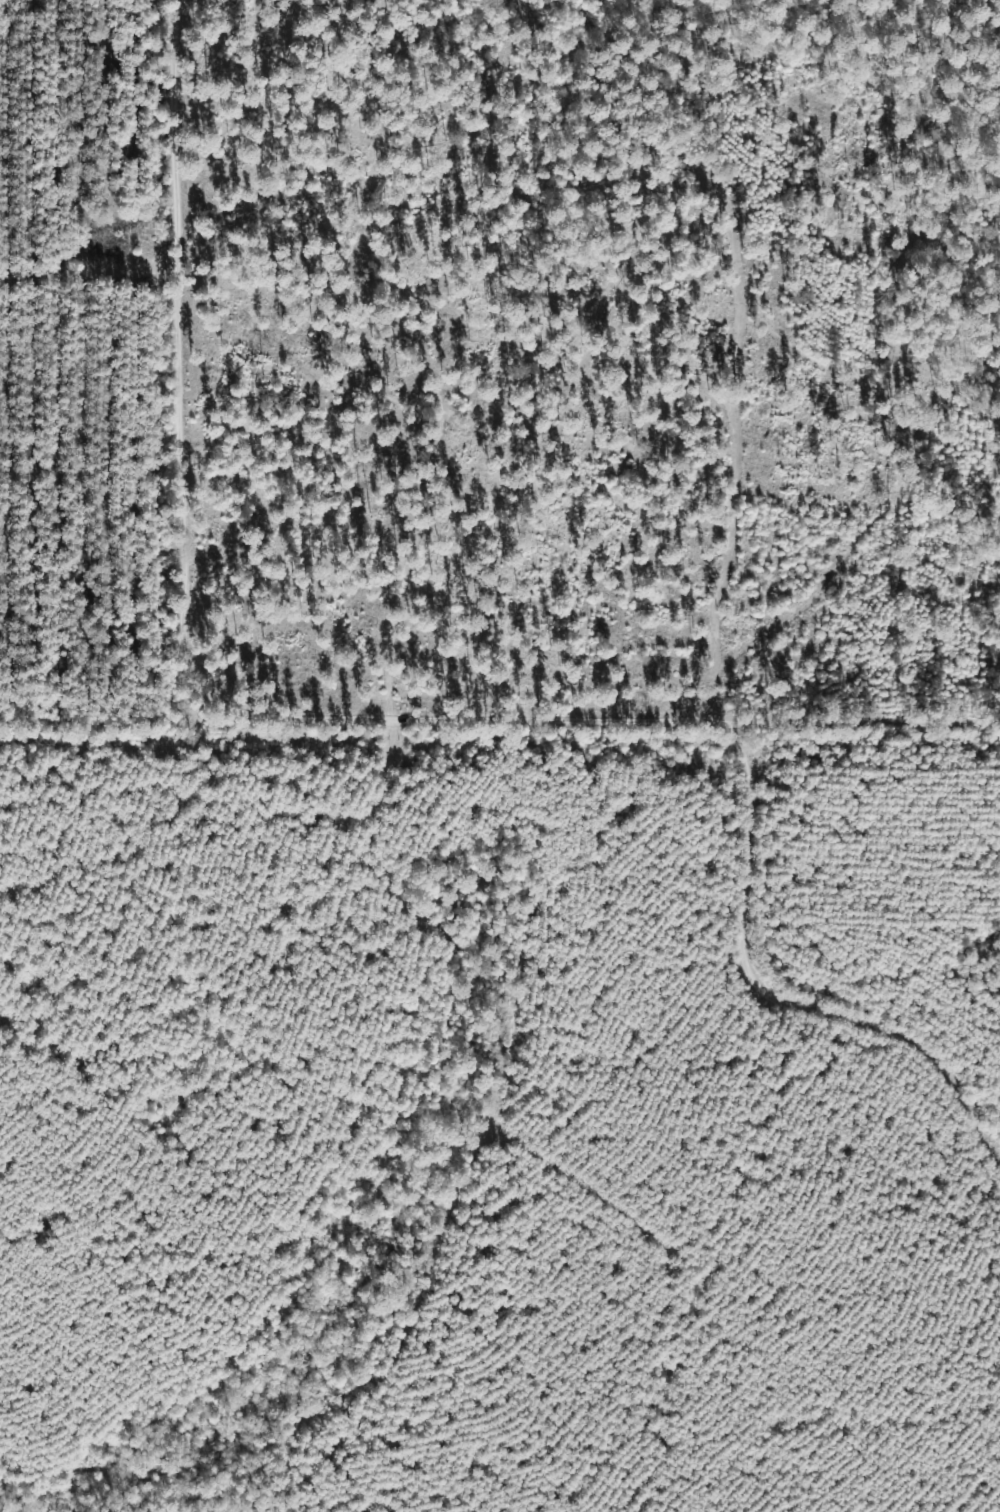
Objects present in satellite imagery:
park: (590, 370)
road: (278, 698)
road: (773, 997)

